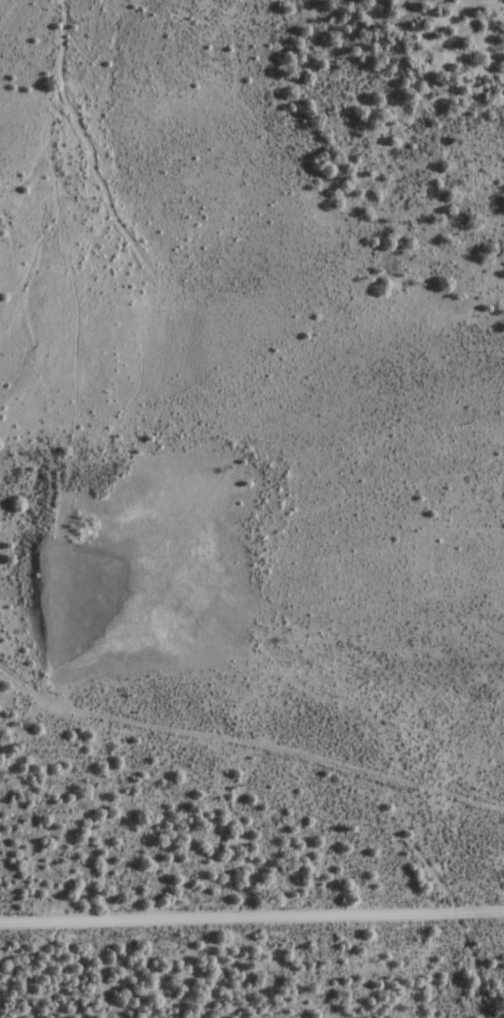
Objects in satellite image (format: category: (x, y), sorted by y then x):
road: (4, 6)
road: (252, 923)

